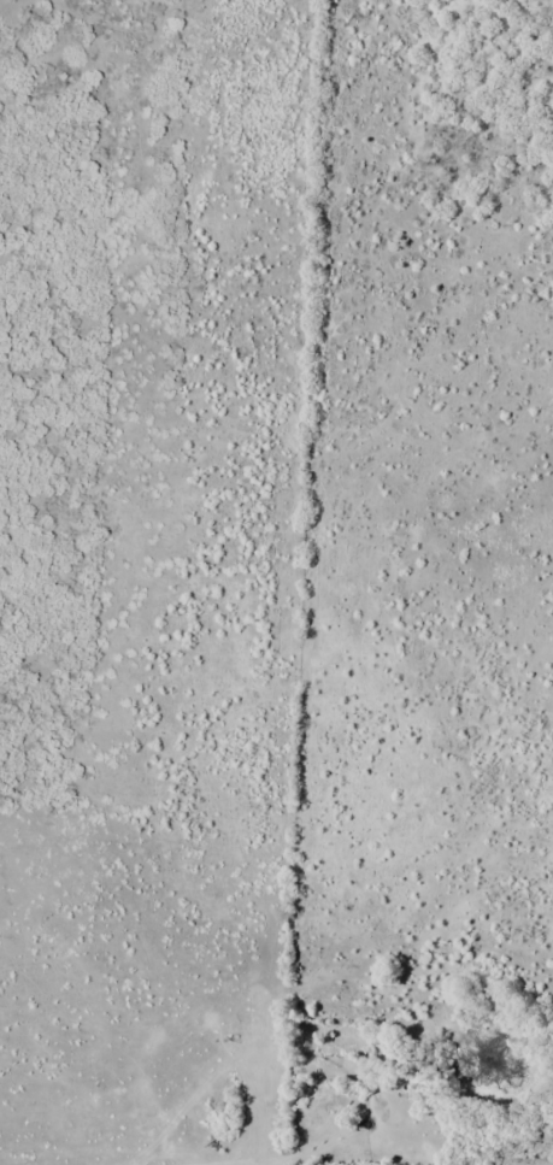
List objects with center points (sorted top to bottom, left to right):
road: (260, 1113)

